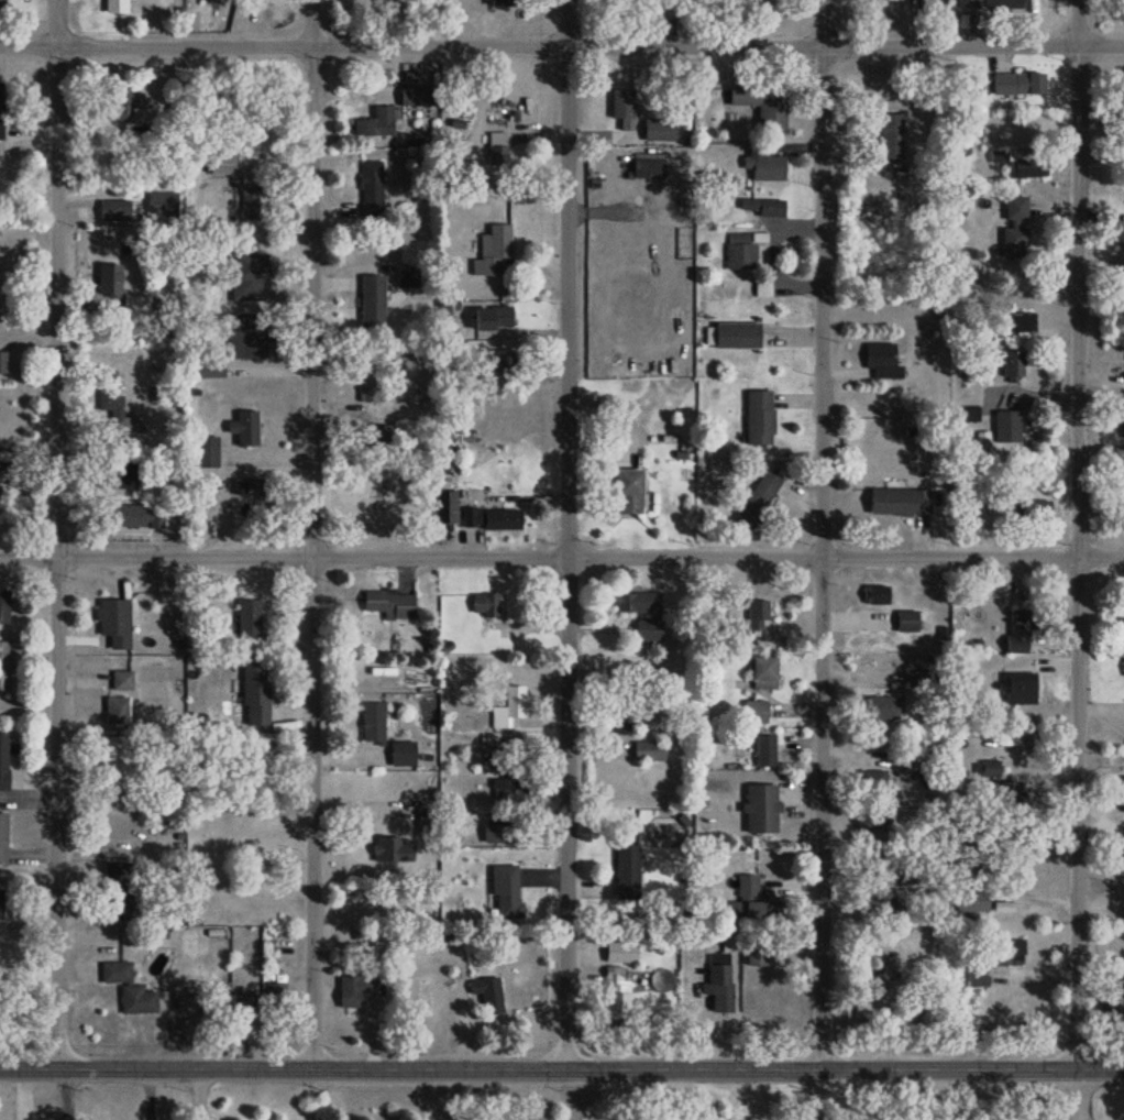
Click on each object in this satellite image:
building: (1, 1)
building: (499, 2)
building: (967, 3)
building: (1003, 3)
building: (114, 6)
road: (1080, 22)
road: (56, 23)
road: (567, 23)
road: (824, 23)
road: (562, 46)
building: (1016, 83)
building: (415, 94)
building: (761, 102)
building: (123, 103)
building: (621, 107)
building: (0, 110)
building: (1123, 116)
building: (374, 122)
building: (658, 129)
building: (890, 135)
building: (495, 146)
building: (1018, 163)
building: (220, 164)
building: (647, 165)
building: (765, 166)
building: (371, 189)
building: (247, 201)
building: (162, 202)
building: (763, 206)
building: (112, 209)
building: (1014, 224)
building: (493, 250)
building: (739, 251)
building: (246, 277)
building: (107, 278)
building: (1123, 281)
building: (371, 300)
building: (133, 305)
building: (491, 316)
building: (1020, 321)
building: (247, 334)
building: (735, 334)
building: (494, 359)
building: (1, 361)
building: (881, 361)
building: (1012, 363)
building: (205, 366)
building: (113, 404)
building: (758, 417)
building: (1123, 425)
building: (1005, 426)
building: (243, 427)
building: (374, 435)
building: (203, 451)
building: (115, 474)
building: (1123, 480)
building: (250, 486)
building: (625, 490)
building: (756, 499)
building: (897, 501)
building: (444, 506)
building: (1034, 509)
building: (133, 516)
building: (489, 517)
road: (312, 531)
road: (561, 557)
road: (822, 557)
road: (1079, 557)
road: (57, 558)
road: (567, 558)
building: (874, 595)
building: (632, 602)
building: (387, 603)
building: (483, 604)
building: (3, 606)
building: (113, 622)
building: (905, 622)
building: (246, 624)
building: (1121, 628)
building: (647, 630)
building: (1015, 630)
building: (3, 666)
building: (761, 673)
building: (915, 678)
building: (121, 680)
building: (1017, 688)
building: (253, 693)
building: (507, 707)
building: (881, 707)
building: (115, 711)
building: (753, 712)
building: (372, 721)
building: (626, 721)
building: (763, 750)
building: (647, 751)
building: (400, 753)
building: (2, 761)
building: (871, 782)
building: (998, 786)
building: (507, 791)
building: (1123, 795)
building: (759, 809)
building: (870, 827)
building: (500, 832)
building: (2, 837)
building: (389, 849)
building: (873, 863)
building: (115, 872)
building: (626, 872)
building: (905, 875)
road: (882, 890)
building: (504, 892)
building: (747, 898)
building: (114, 899)
building: (969, 901)
building: (0, 903)
building: (878, 907)
building: (1003, 951)
building: (881, 970)
building: (974, 977)
building: (355, 986)
building: (128, 987)
building: (718, 988)
building: (486, 993)
building: (274, 999)
building: (616, 1002)
building: (1113, 1003)
building: (864, 1006)
road: (561, 1068)
road: (197, 1092)
road: (816, 1092)
road: (65, 1094)
road: (428, 1094)
road: (570, 1095)
road: (1076, 1095)

